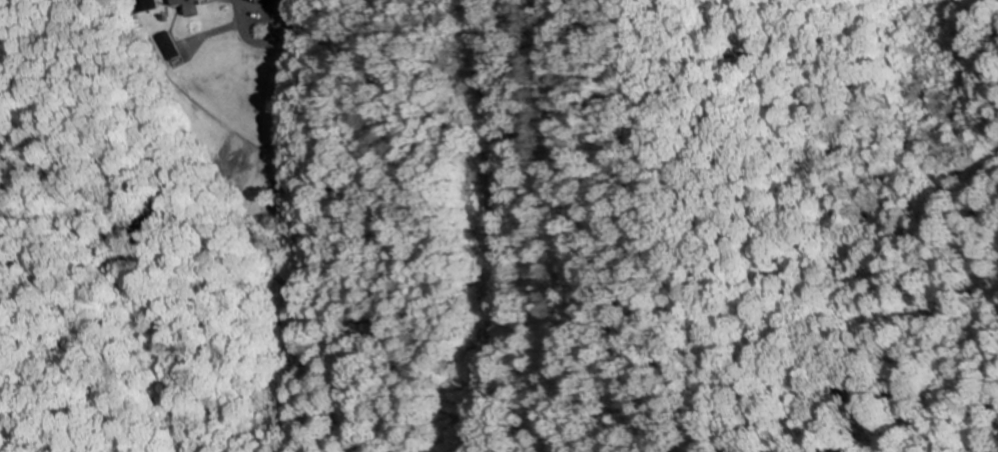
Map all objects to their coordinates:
building: (154, 6)
building: (200, 8)

